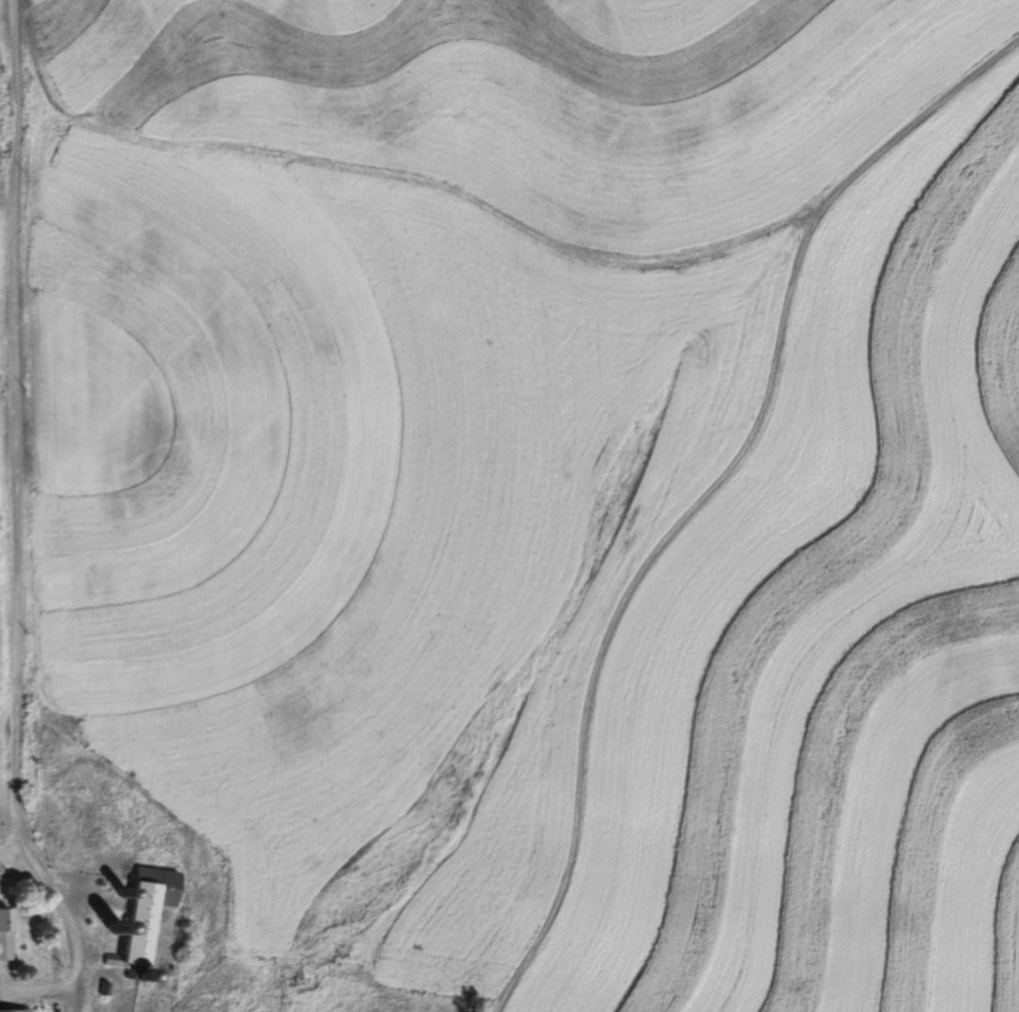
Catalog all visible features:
road: (14, 453)
road: (702, 492)
building: (140, 913)
building: (2, 935)
building: (11, 1011)

